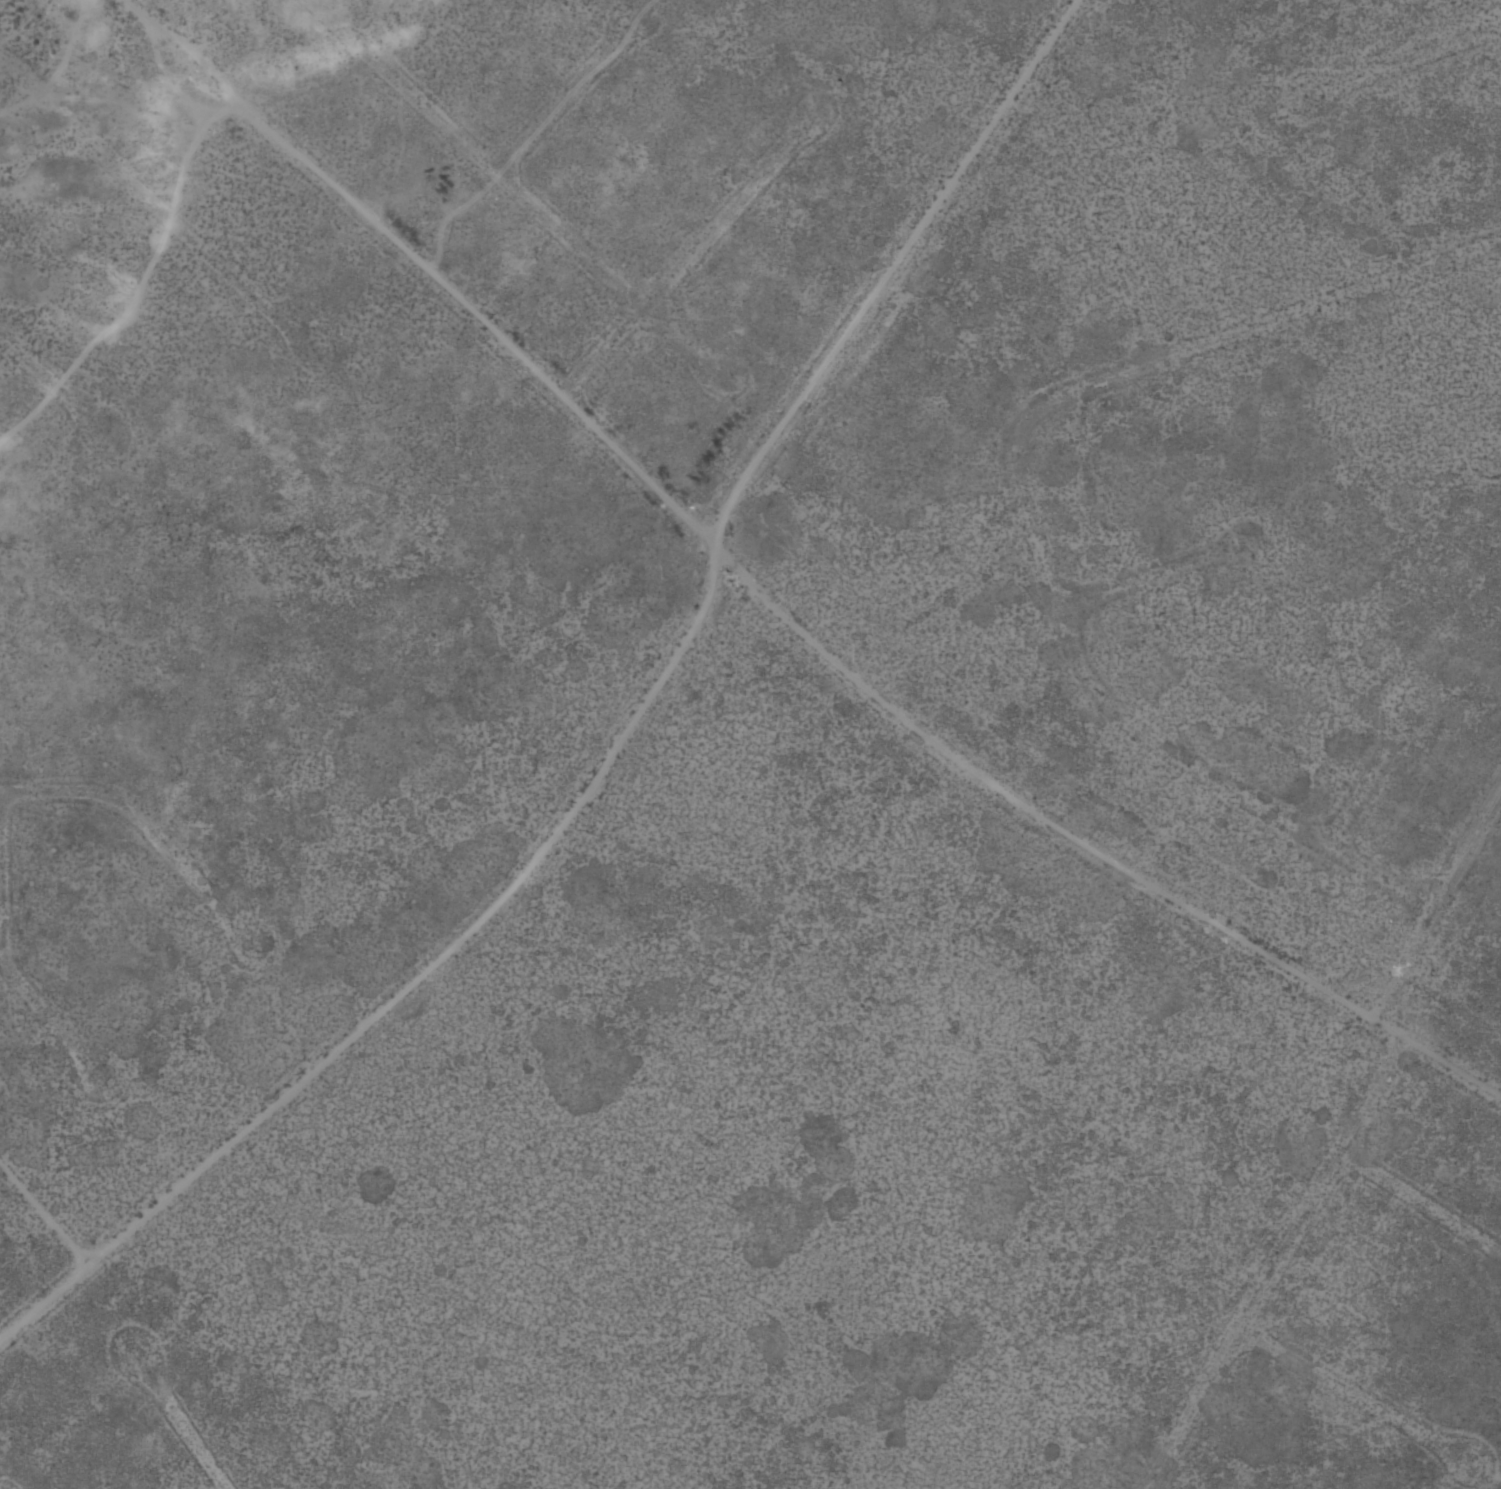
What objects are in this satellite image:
road: (776, 572)
road: (624, 732)

